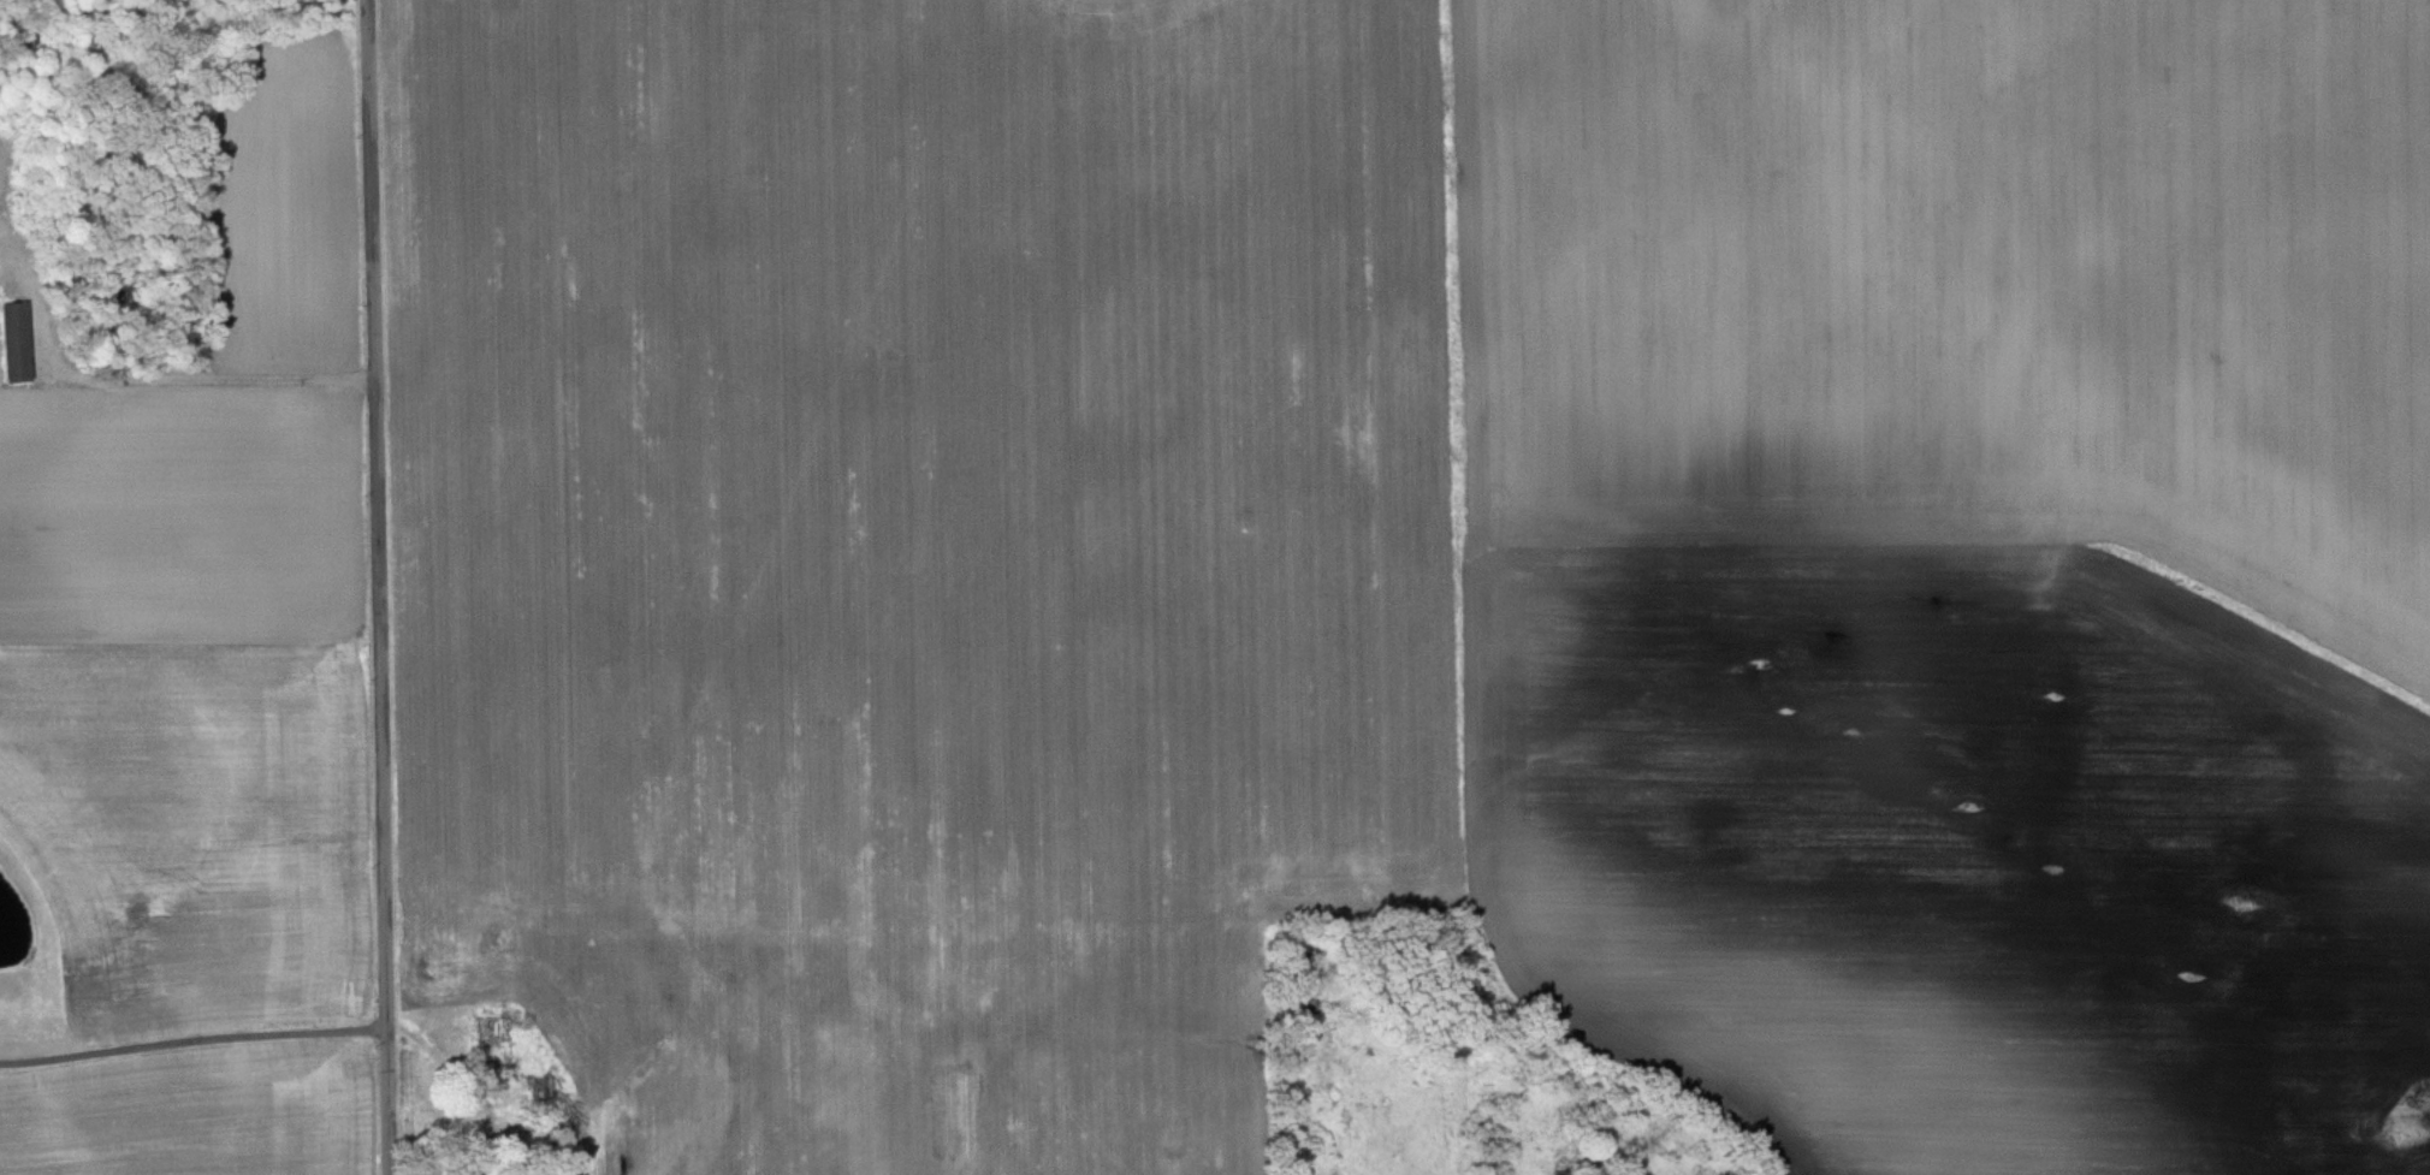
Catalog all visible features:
building: (12, 345)
road: (179, 379)
road: (380, 587)
road: (194, 1040)
building: (462, 1174)

